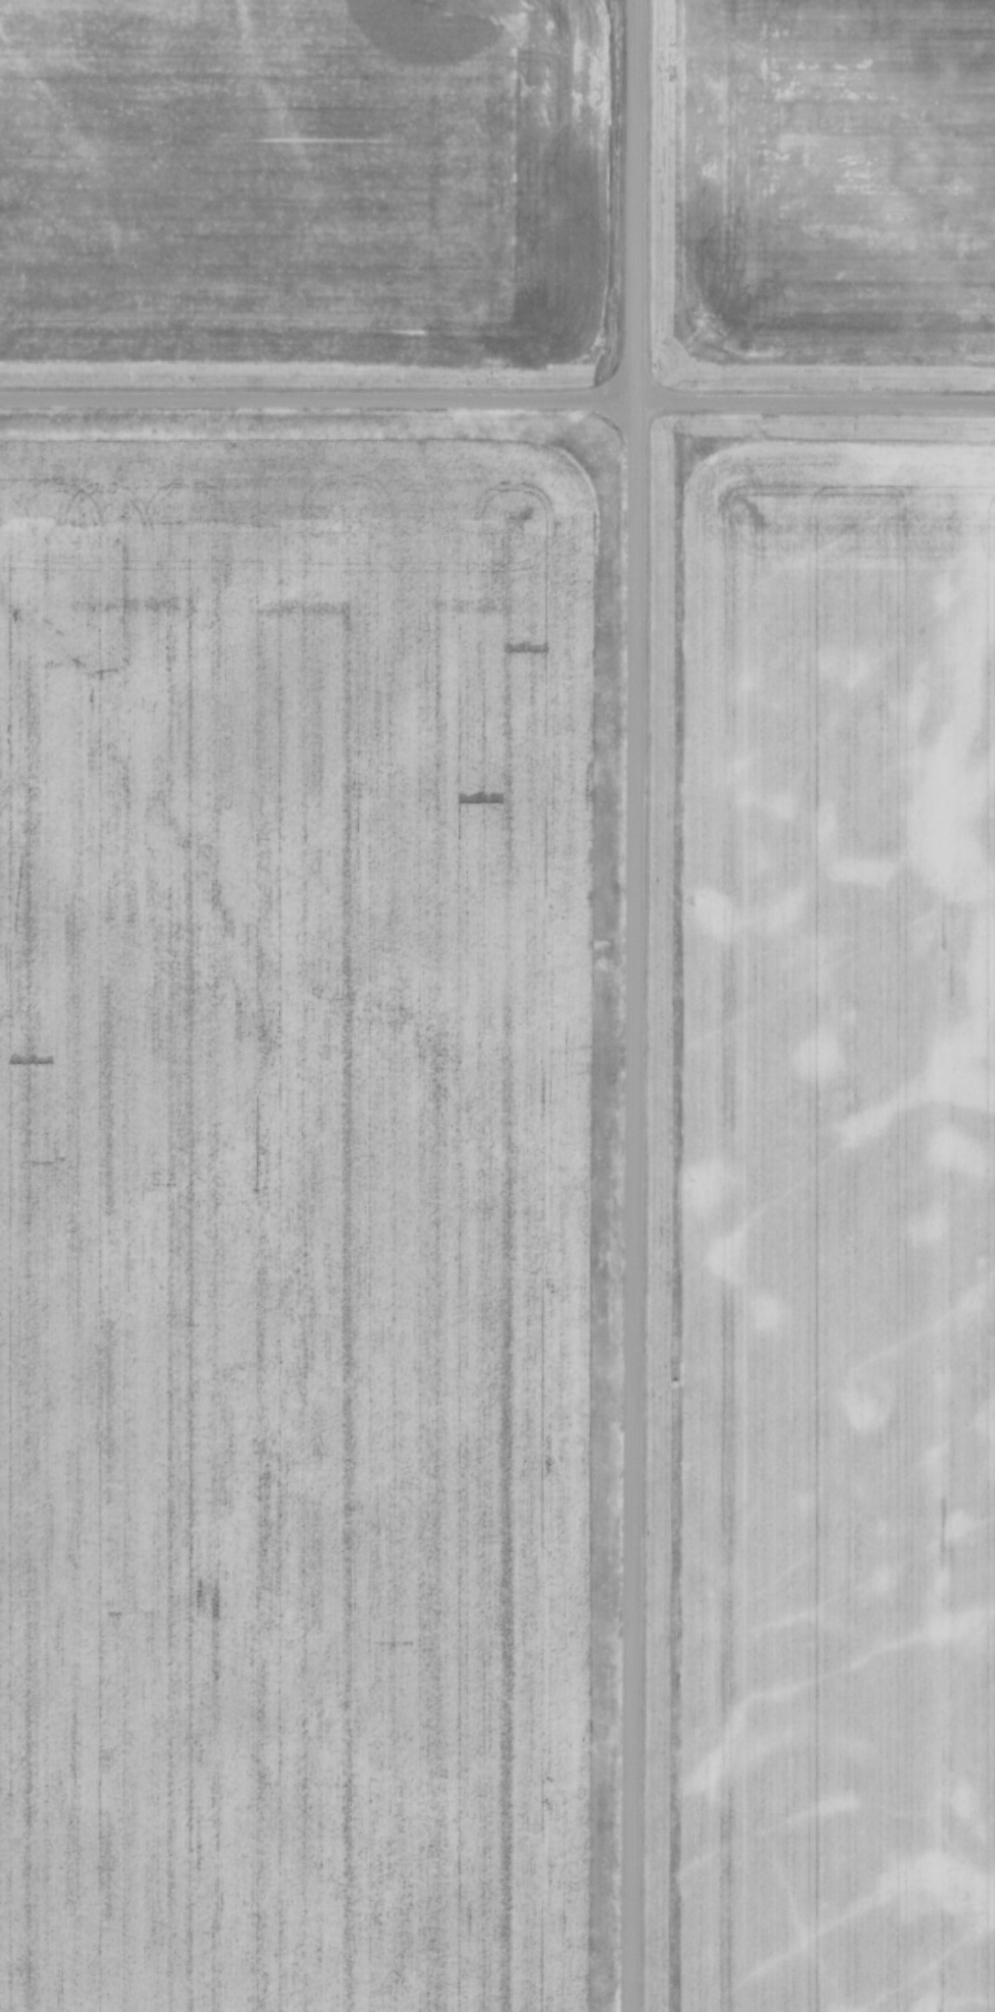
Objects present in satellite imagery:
road: (497, 400)
road: (633, 1006)

